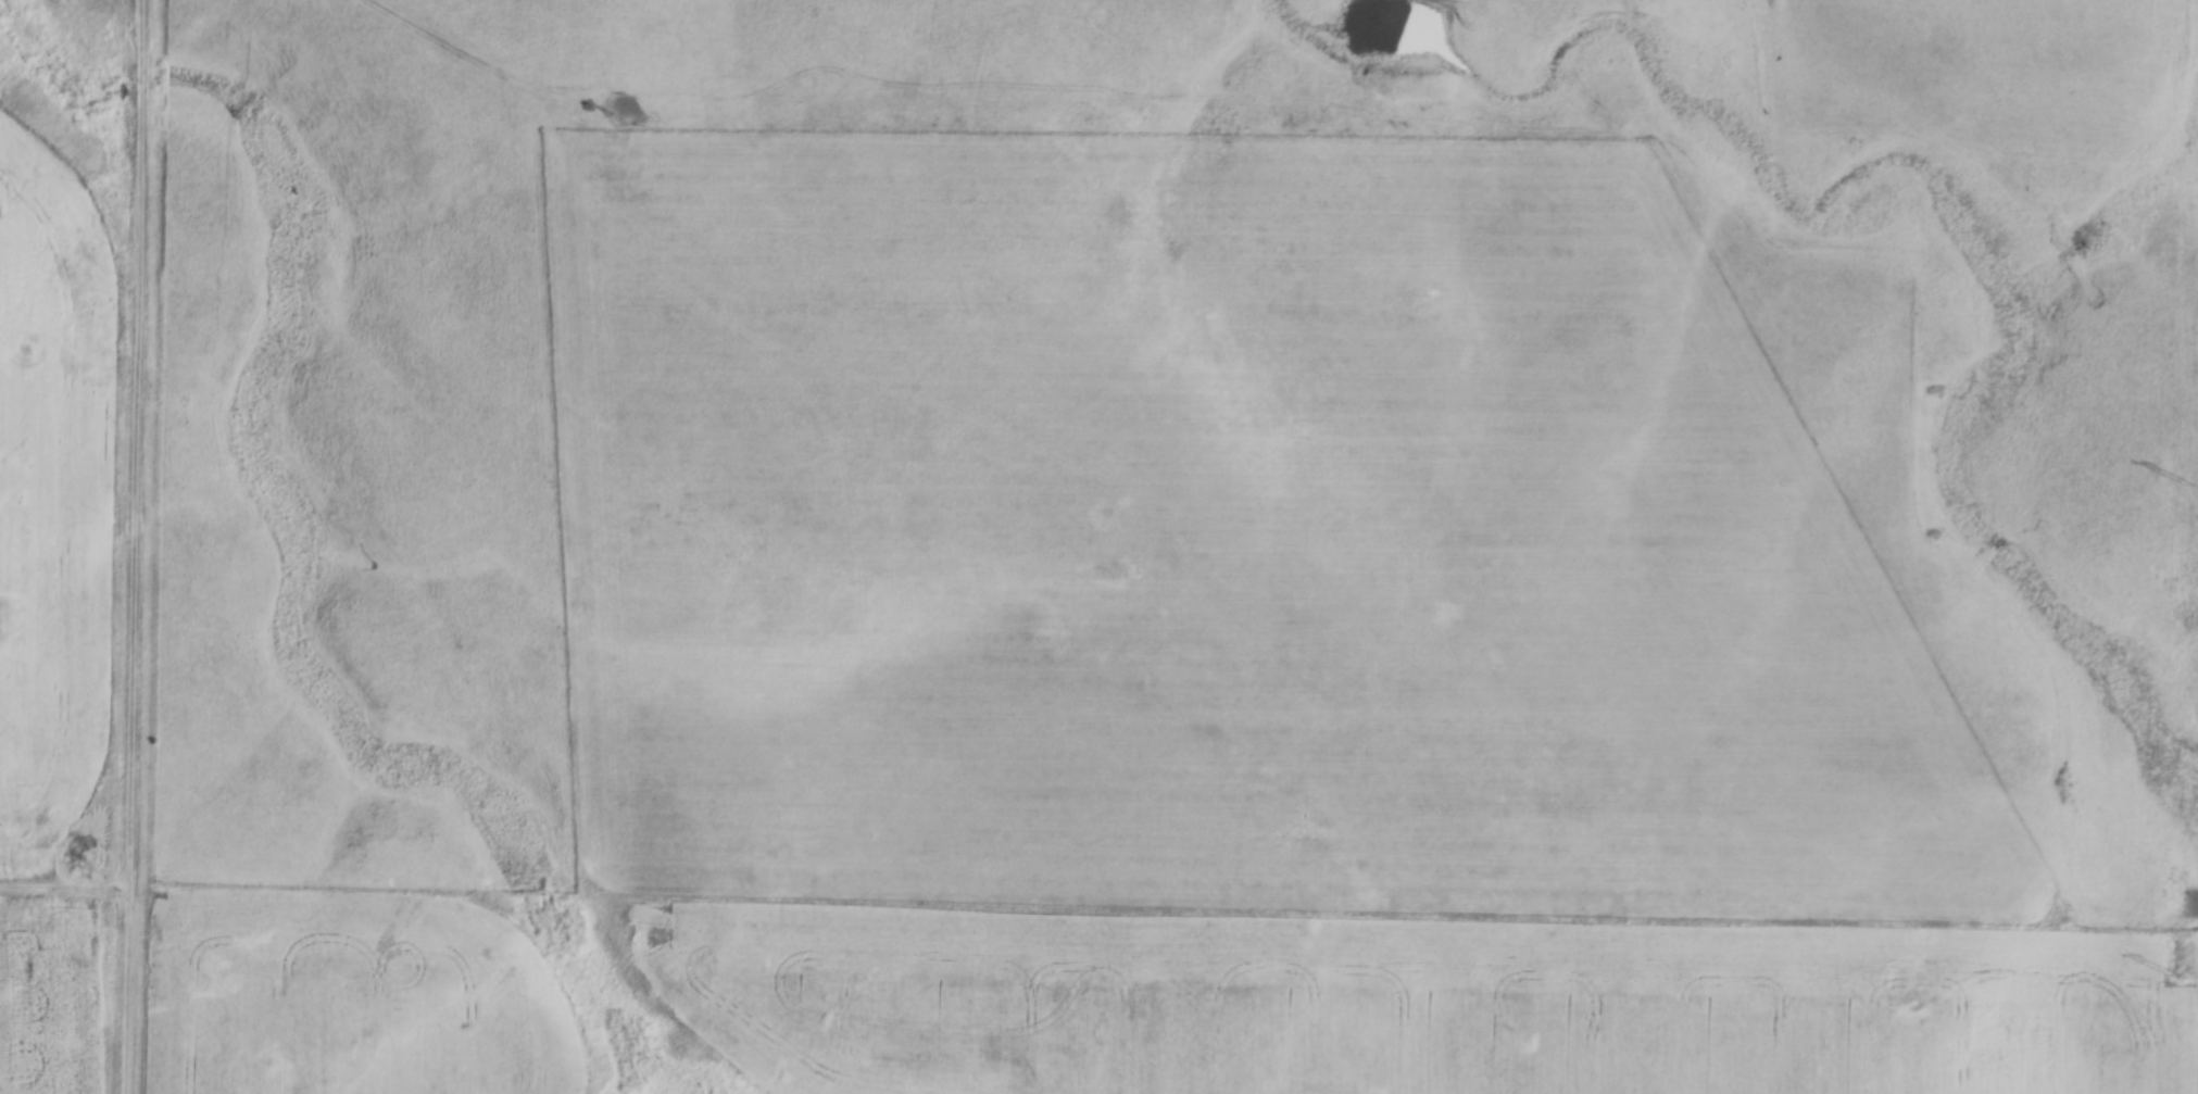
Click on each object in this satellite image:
power tower: (2185, 487)
power tower: (2175, 978)

